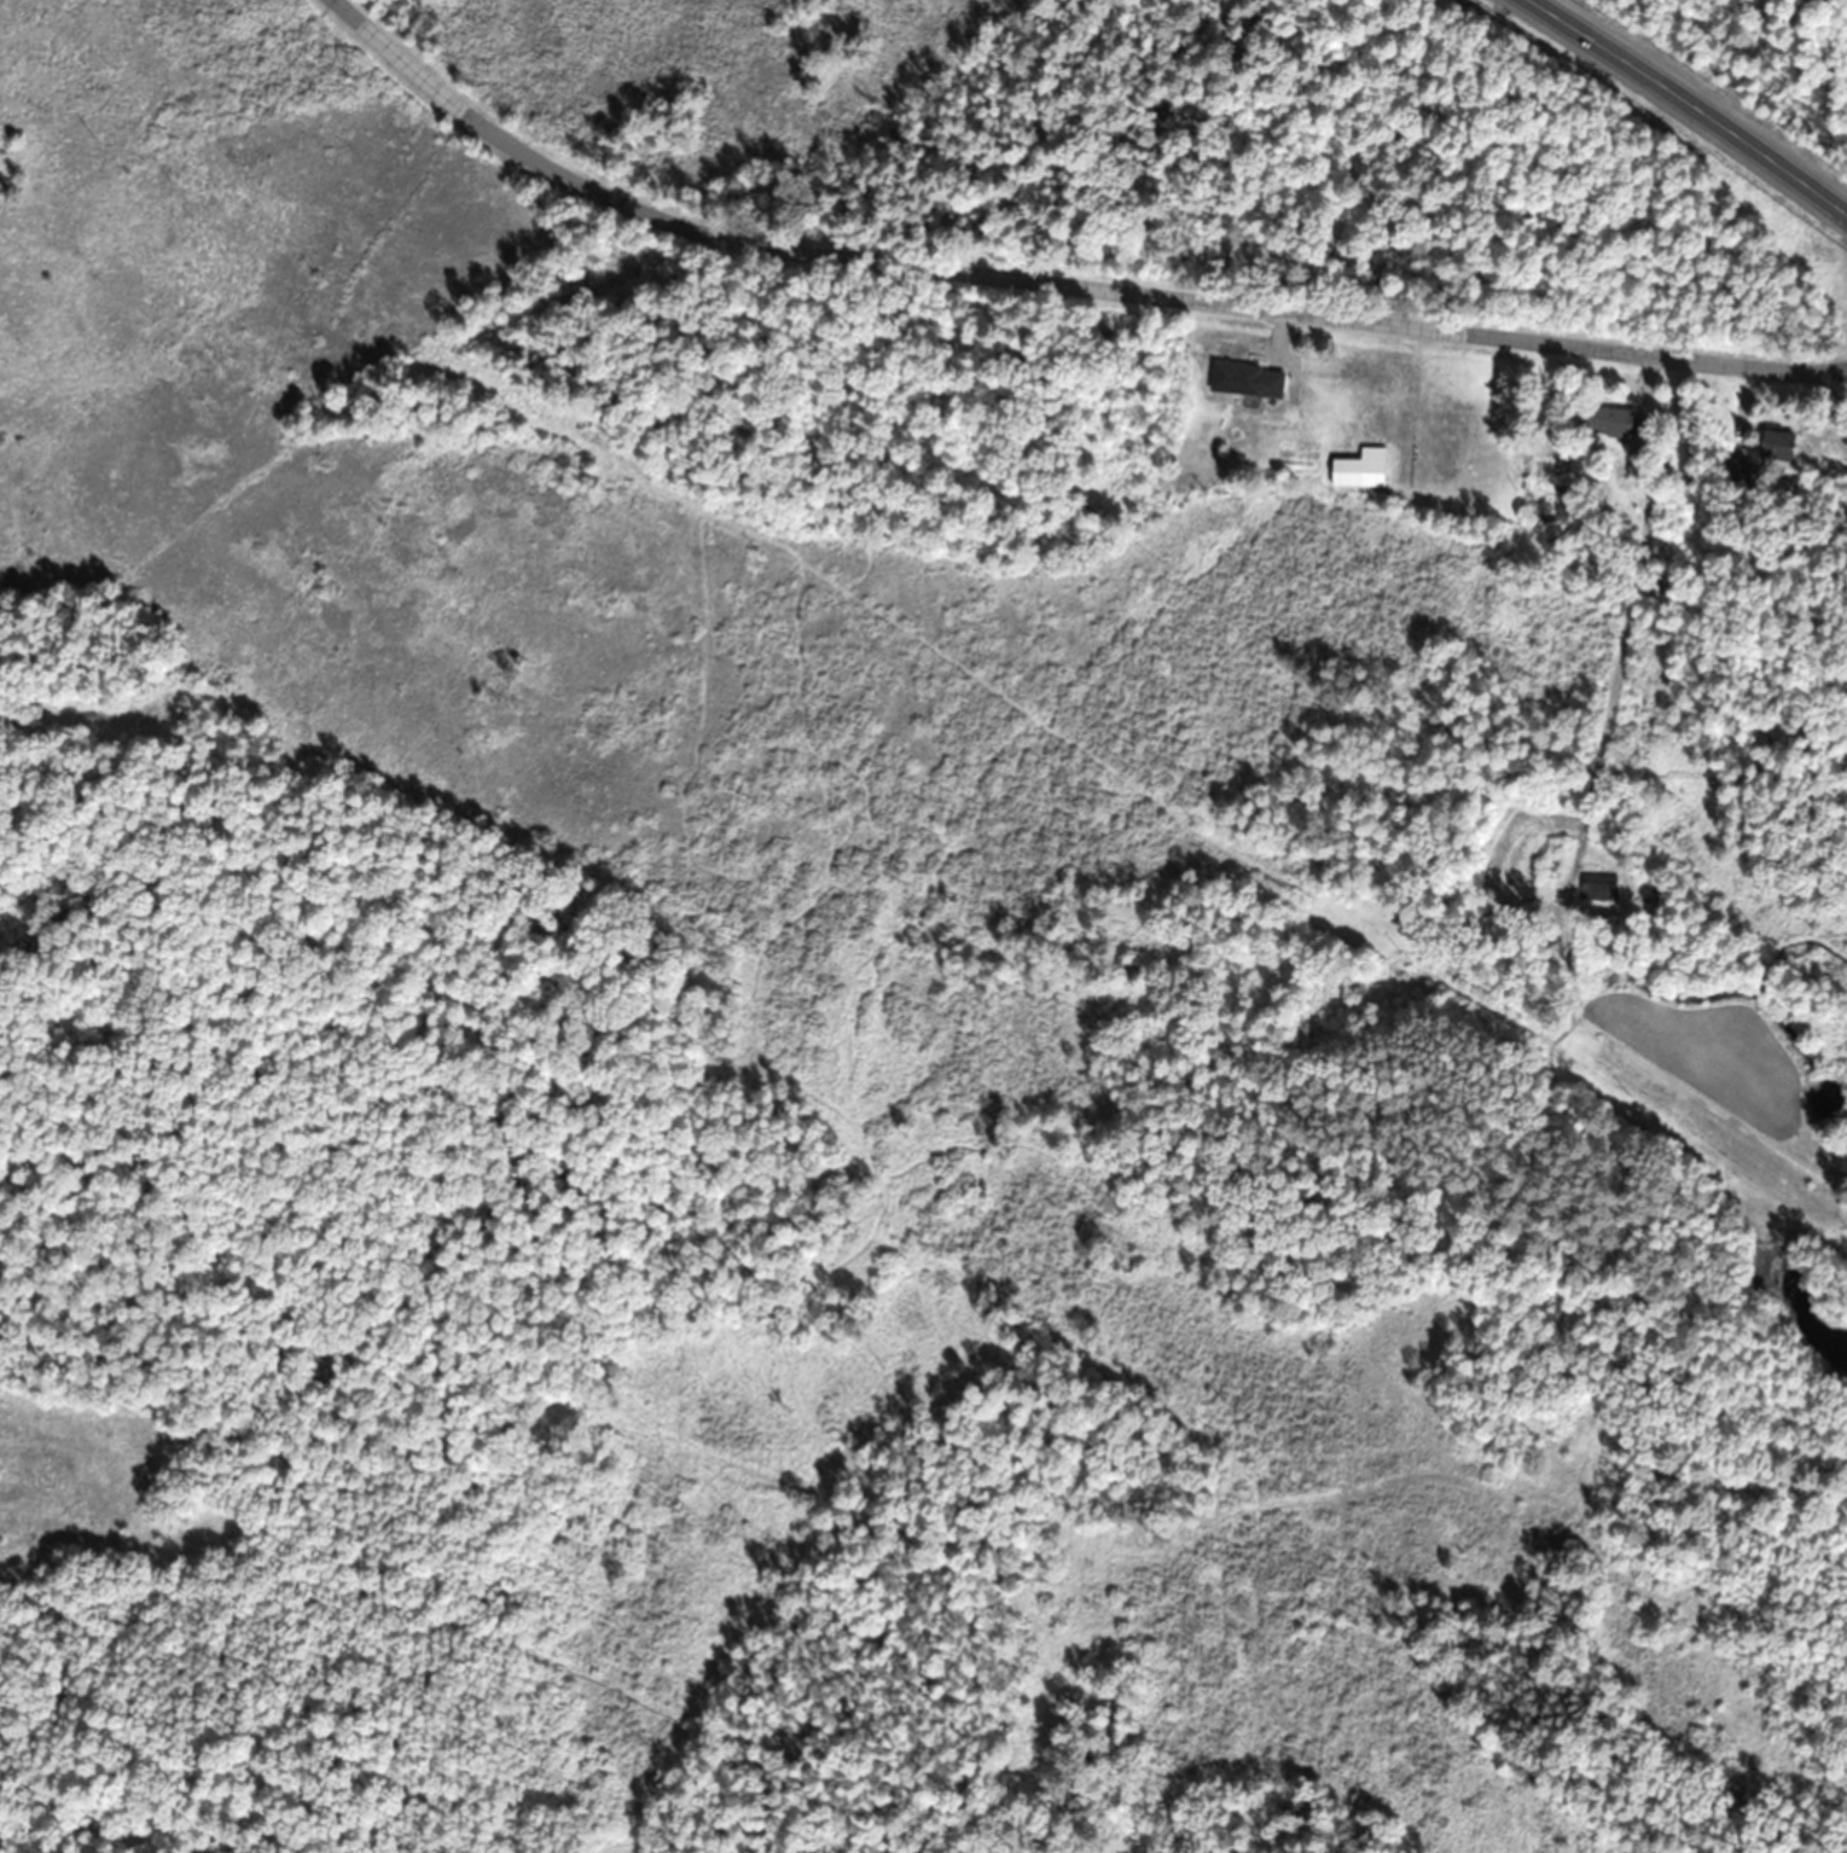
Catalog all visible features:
road: (1685, 103)
building: (1338, 134)
road: (1057, 283)
building: (1247, 379)
building: (1607, 420)
building: (1776, 443)
building: (1360, 467)
building: (1595, 887)

